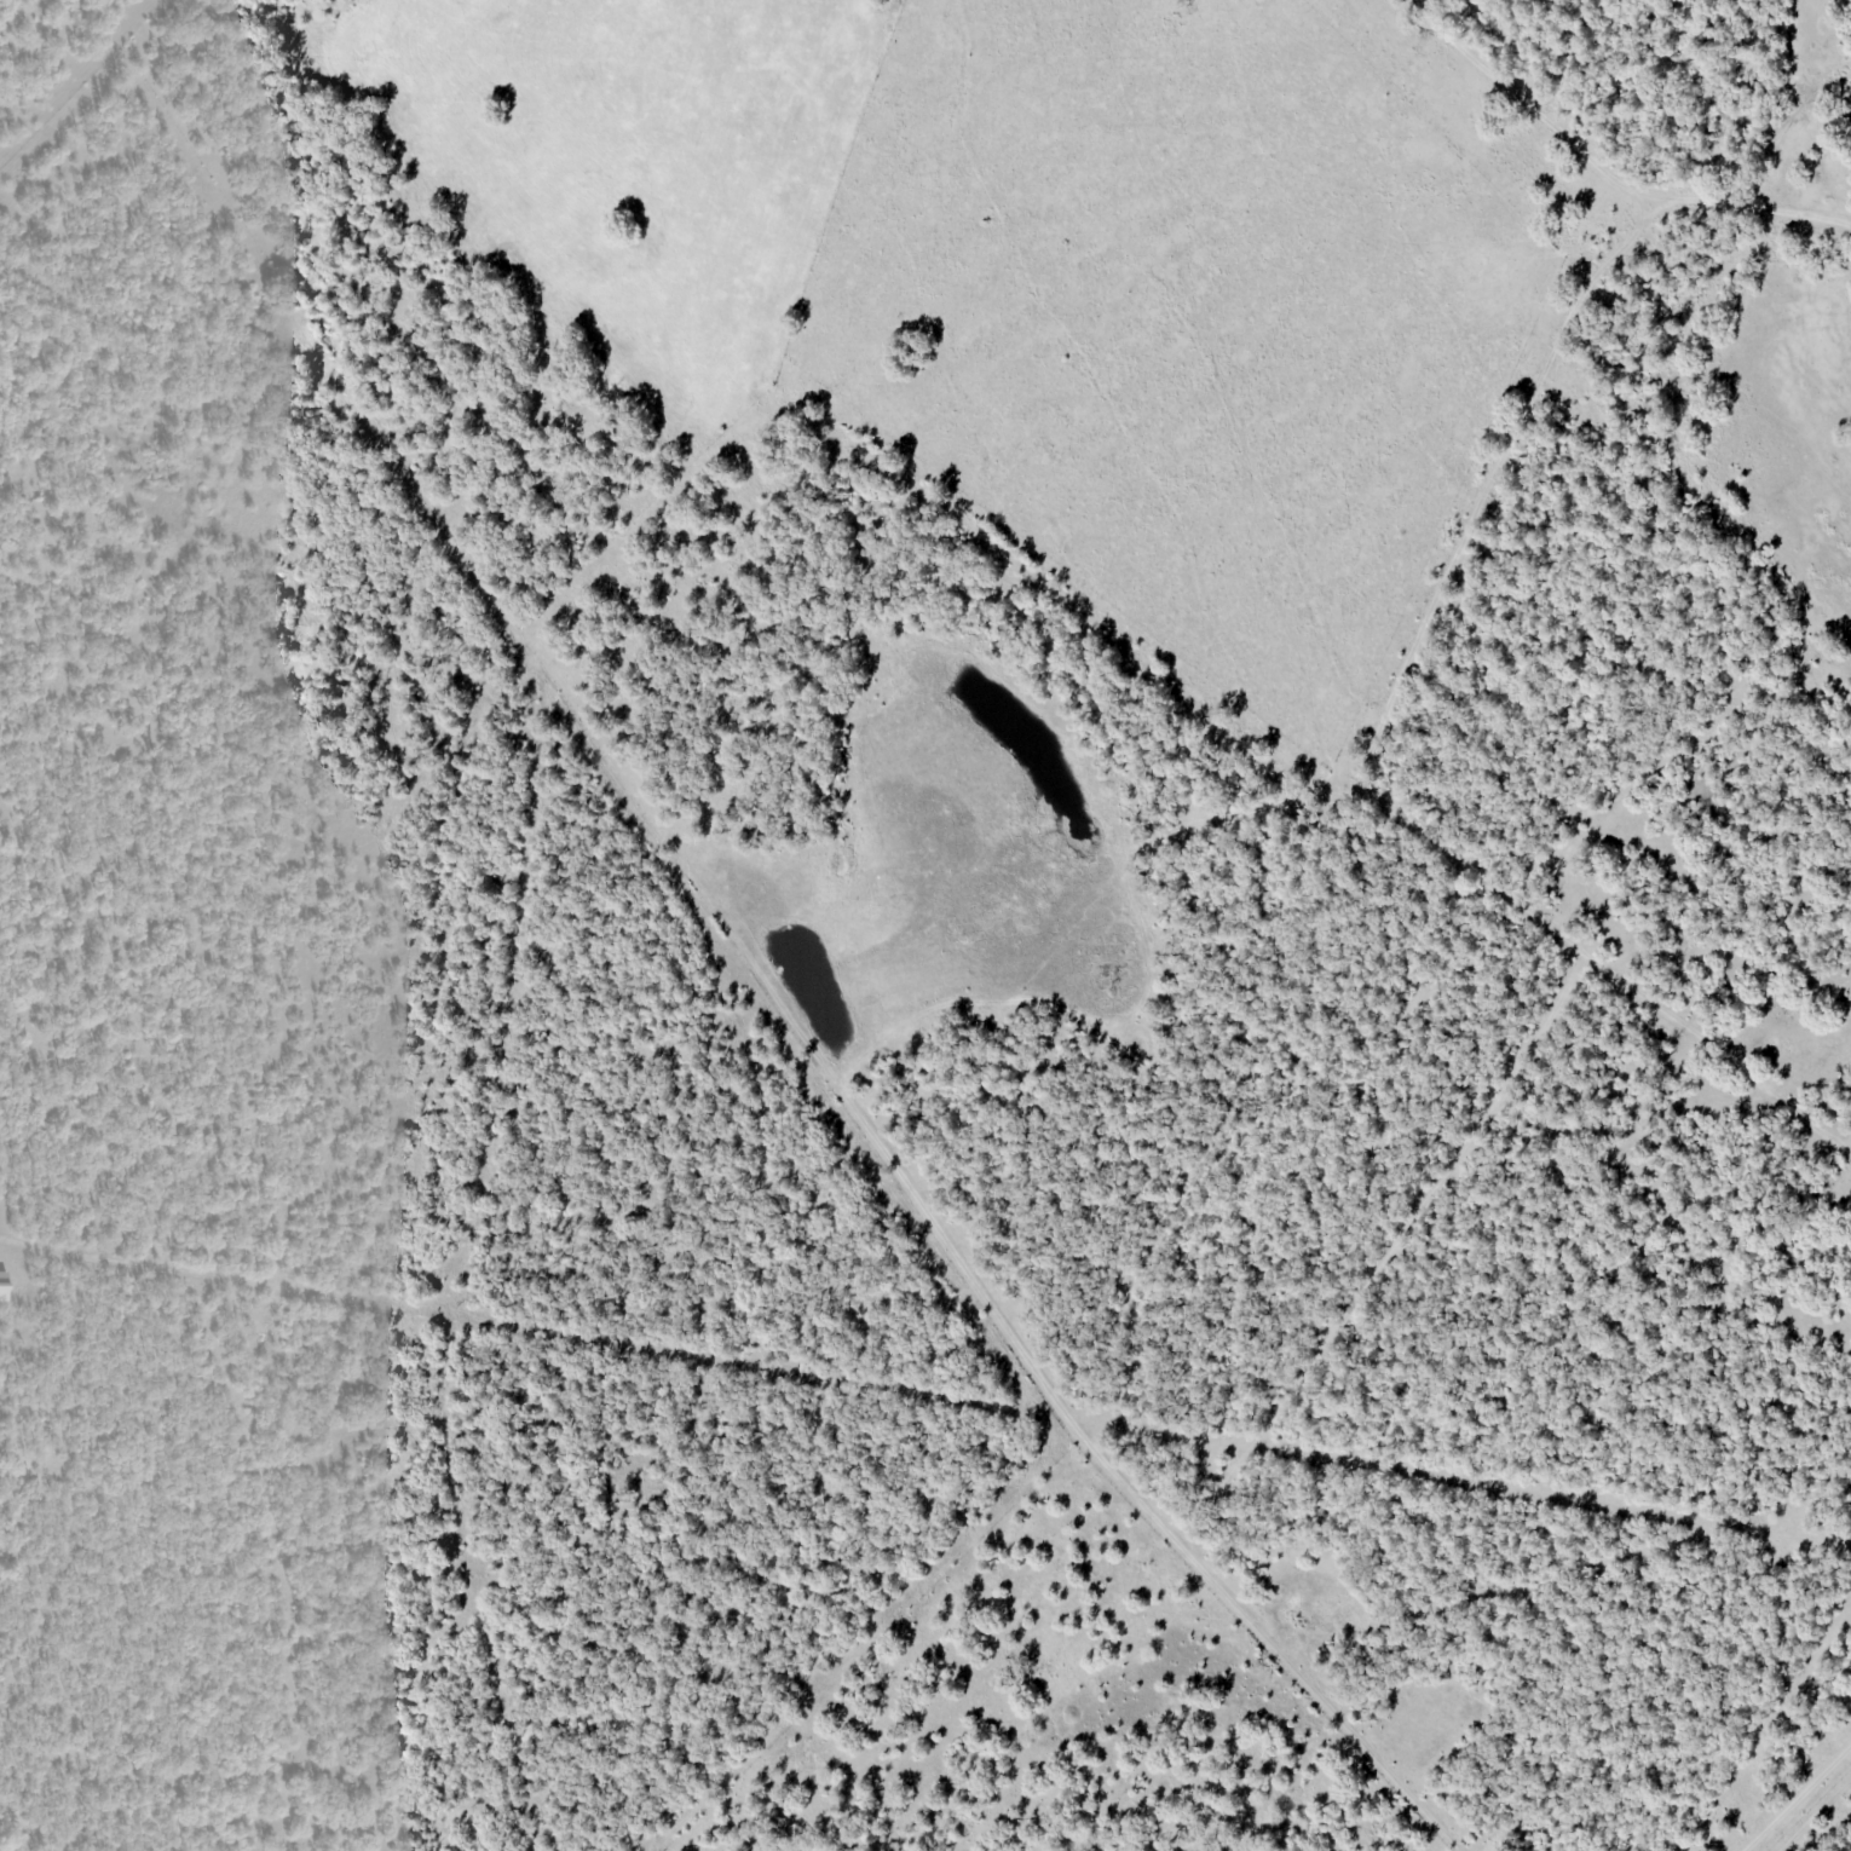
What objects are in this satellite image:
building: (2, 1285)
road: (1829, 1830)

